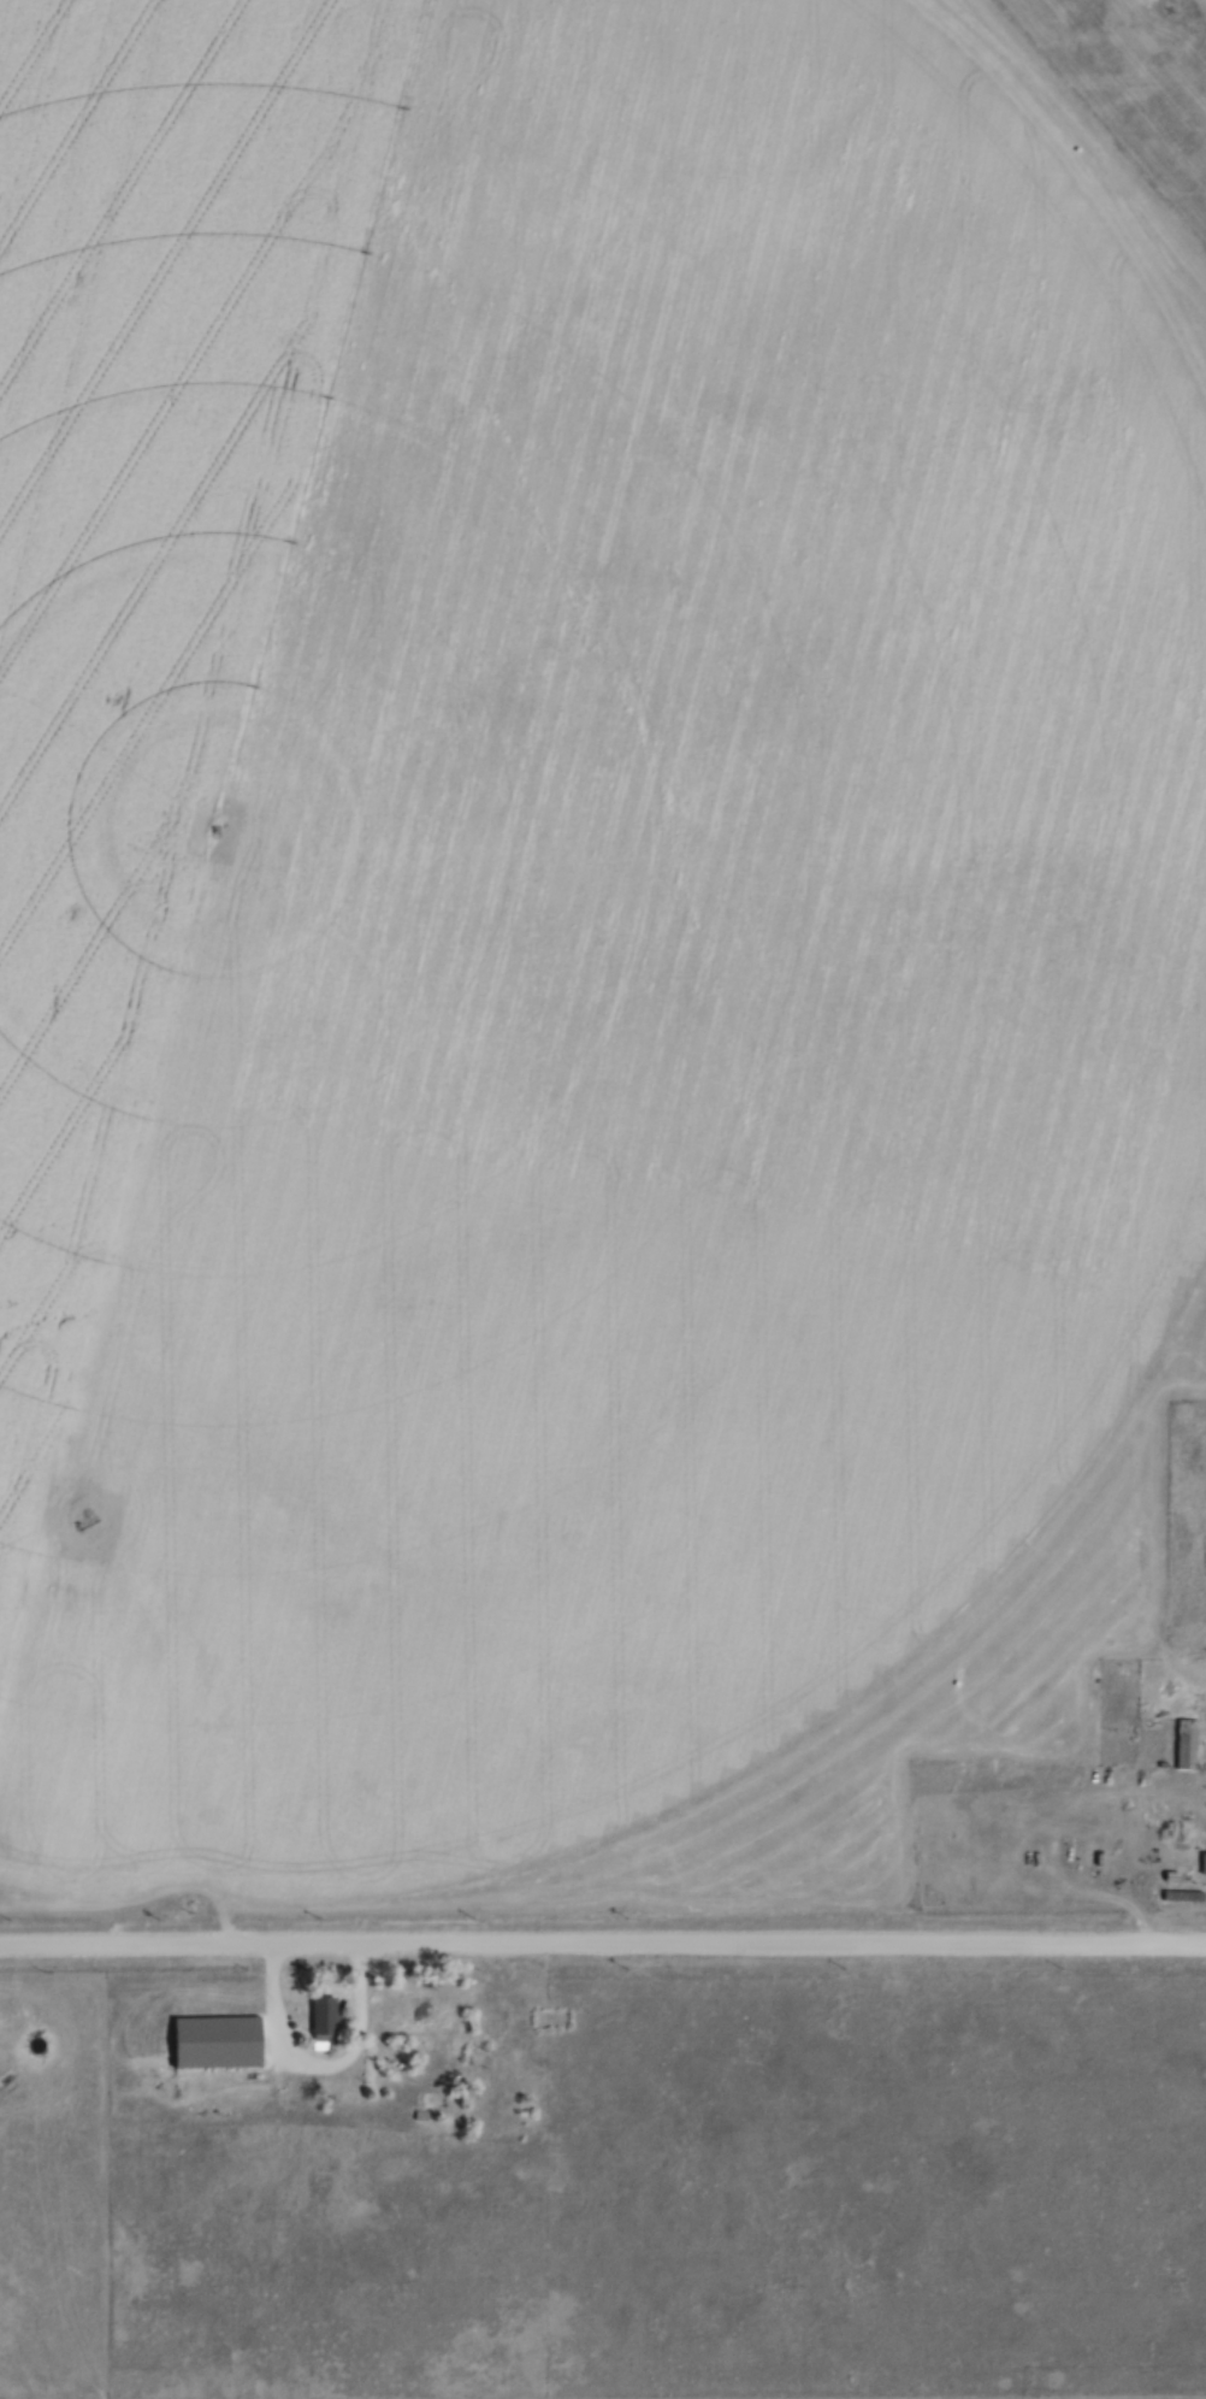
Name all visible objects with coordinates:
building: (1183, 1745)
building: (1180, 1897)
road: (603, 1941)
building: (318, 2023)
building: (211, 2043)
building: (419, 2118)

